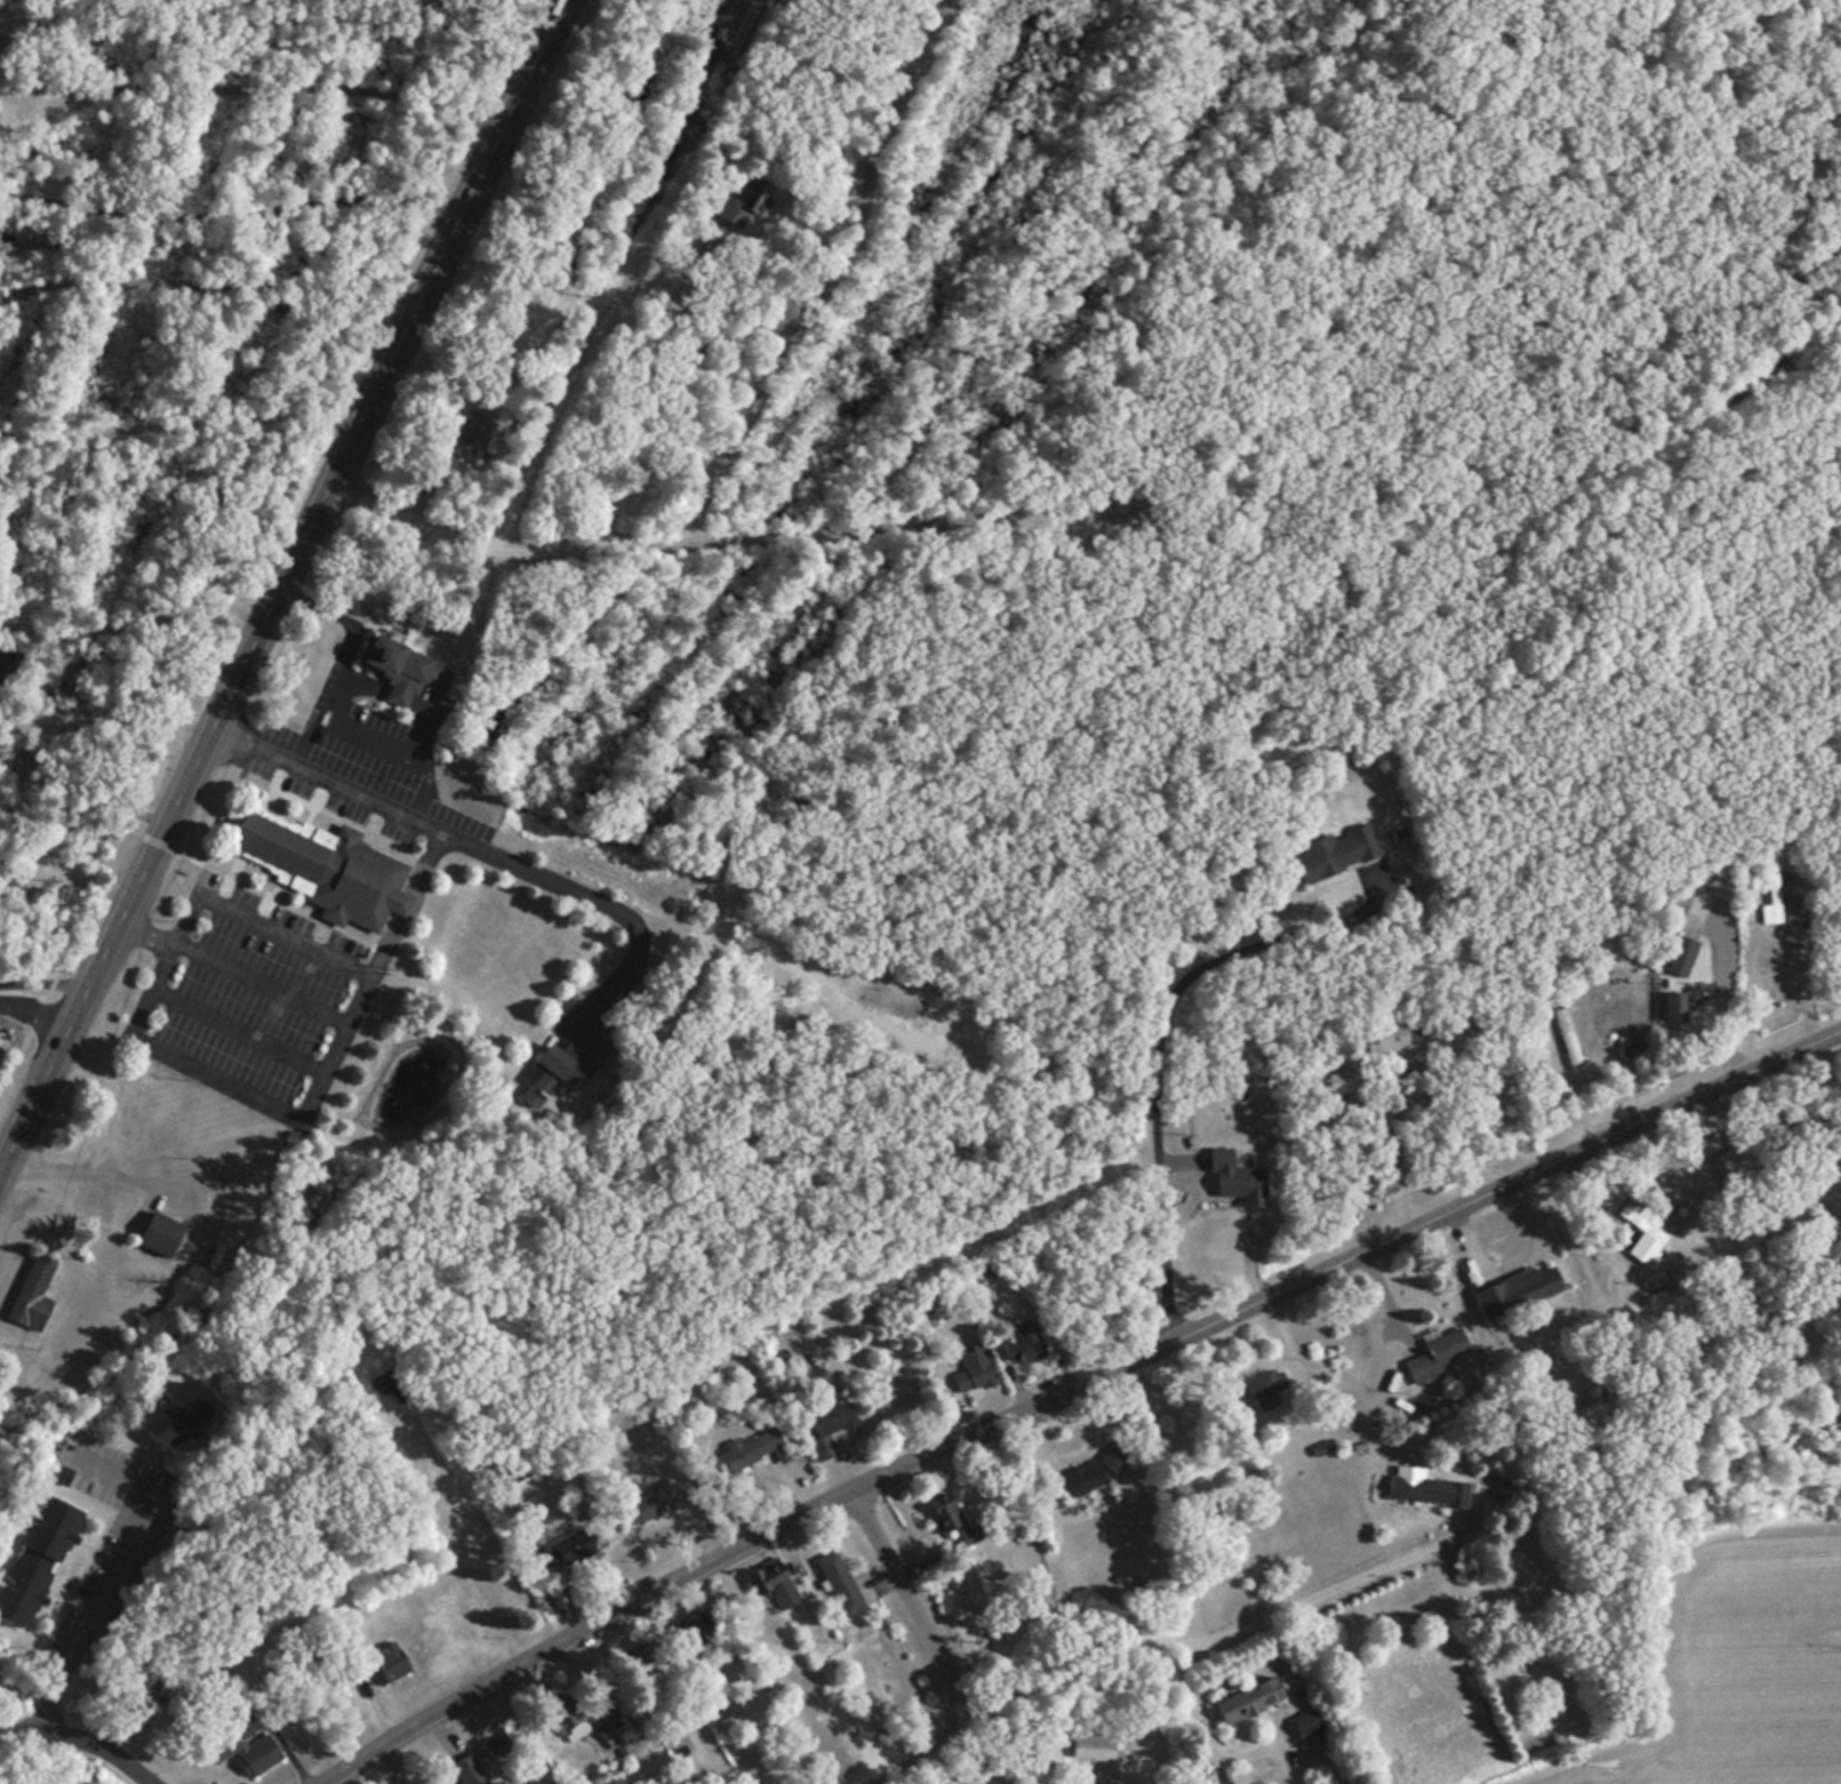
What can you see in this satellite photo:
road: (268, 15)
road: (255, 80)
building: (745, 207)
road: (230, 208)
road: (462, 212)
building: (1790, 216)
road: (829, 276)
road: (208, 283)
road: (558, 393)
road: (176, 418)
building: (469, 434)
road: (610, 545)
road: (133, 610)
building: (398, 668)
road: (102, 719)
road: (176, 795)
road: (85, 804)
road: (479, 842)
building: (1336, 853)
building: (326, 869)
road: (64, 891)
road: (415, 903)
building: (1678, 904)
building: (1782, 905)
building: (1681, 957)
road: (265, 984)
parking lot: (255, 1001)
building: (1673, 1008)
road: (35, 1009)
road: (241, 1032)
building: (1394, 1035)
building: (1569, 1037)
building: (574, 1059)
building: (1337, 1076)
road: (317, 1093)
building: (1228, 1170)
road: (1461, 1204)
building: (1645, 1230)
building: (160, 1234)
building: (1513, 1282)
building: (33, 1290)
building: (1017, 1338)
building: (1426, 1344)
building: (972, 1365)
building: (1262, 1384)
building: (388, 1388)
building: (174, 1417)
building: (823, 1418)
building: (739, 1444)
building: (63, 1475)
building: (1076, 1475)
building: (1425, 1488)
building: (457, 1498)
building: (638, 1501)
building: (944, 1512)
building: (48, 1529)
building: (556, 1543)
road: (111, 1569)
road: (700, 1569)
building: (772, 1577)
building: (838, 1577)
building: (21, 1589)
road: (924, 1605)
building: (702, 1635)
building: (387, 1661)
building: (146, 1692)
building: (1249, 1701)
building: (568, 1718)
building: (1309, 1728)
road: (81, 1739)
building: (678, 1742)
building: (1098, 1744)
building: (245, 1748)
road: (926, 1757)
building: (469, 1771)

